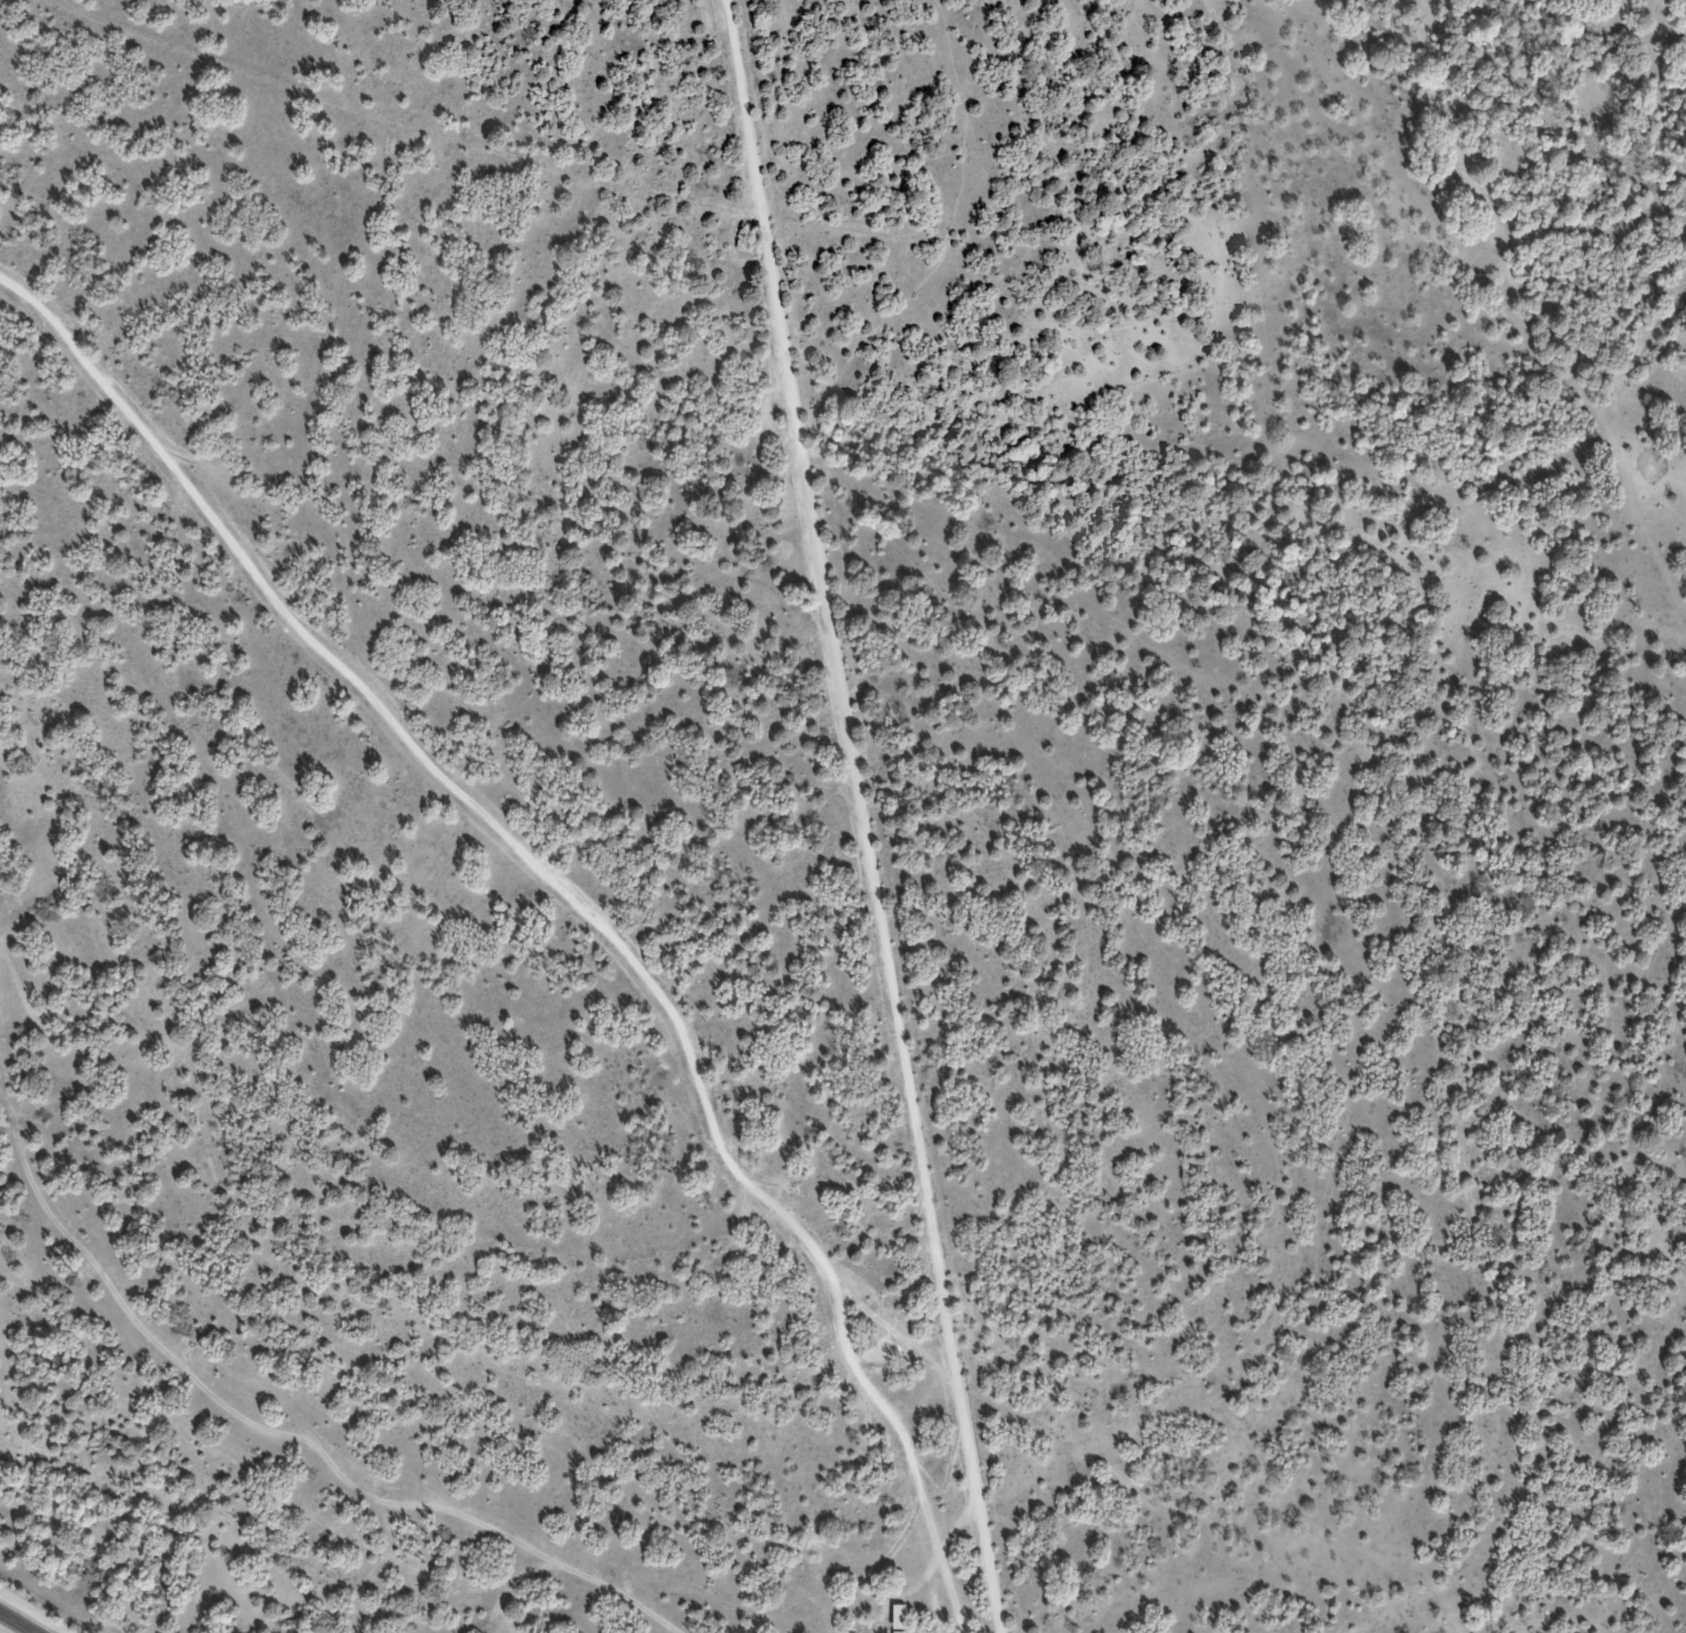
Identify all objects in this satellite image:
road: (1590, 242)
road: (1480, 291)
road: (710, 1060)
road: (958, 1535)
building: (898, 1616)
road: (15, 1623)
building: (897, 1632)

